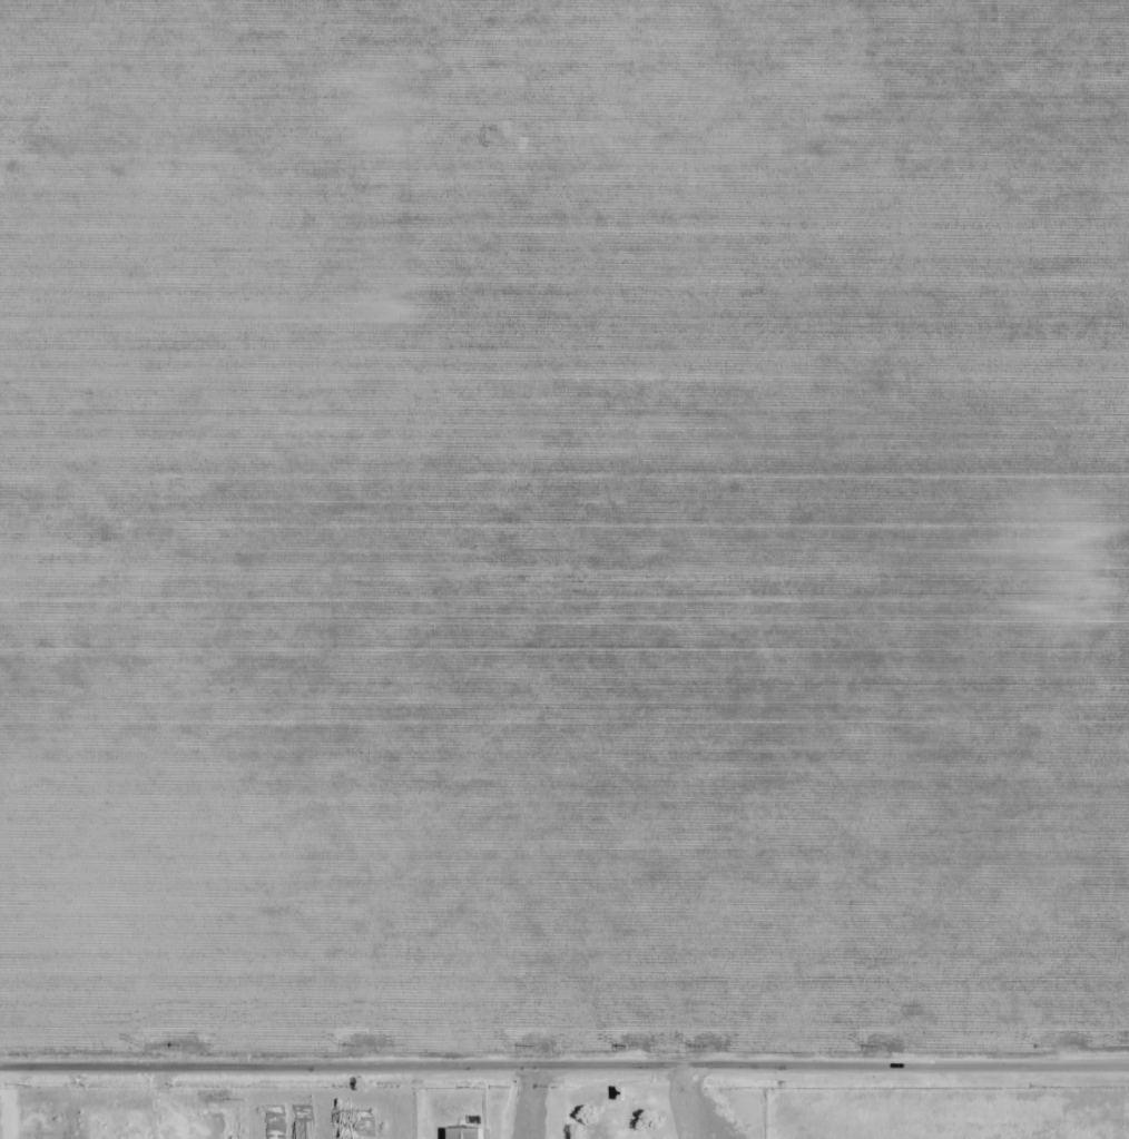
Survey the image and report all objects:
road: (564, 1071)
building: (470, 1135)

